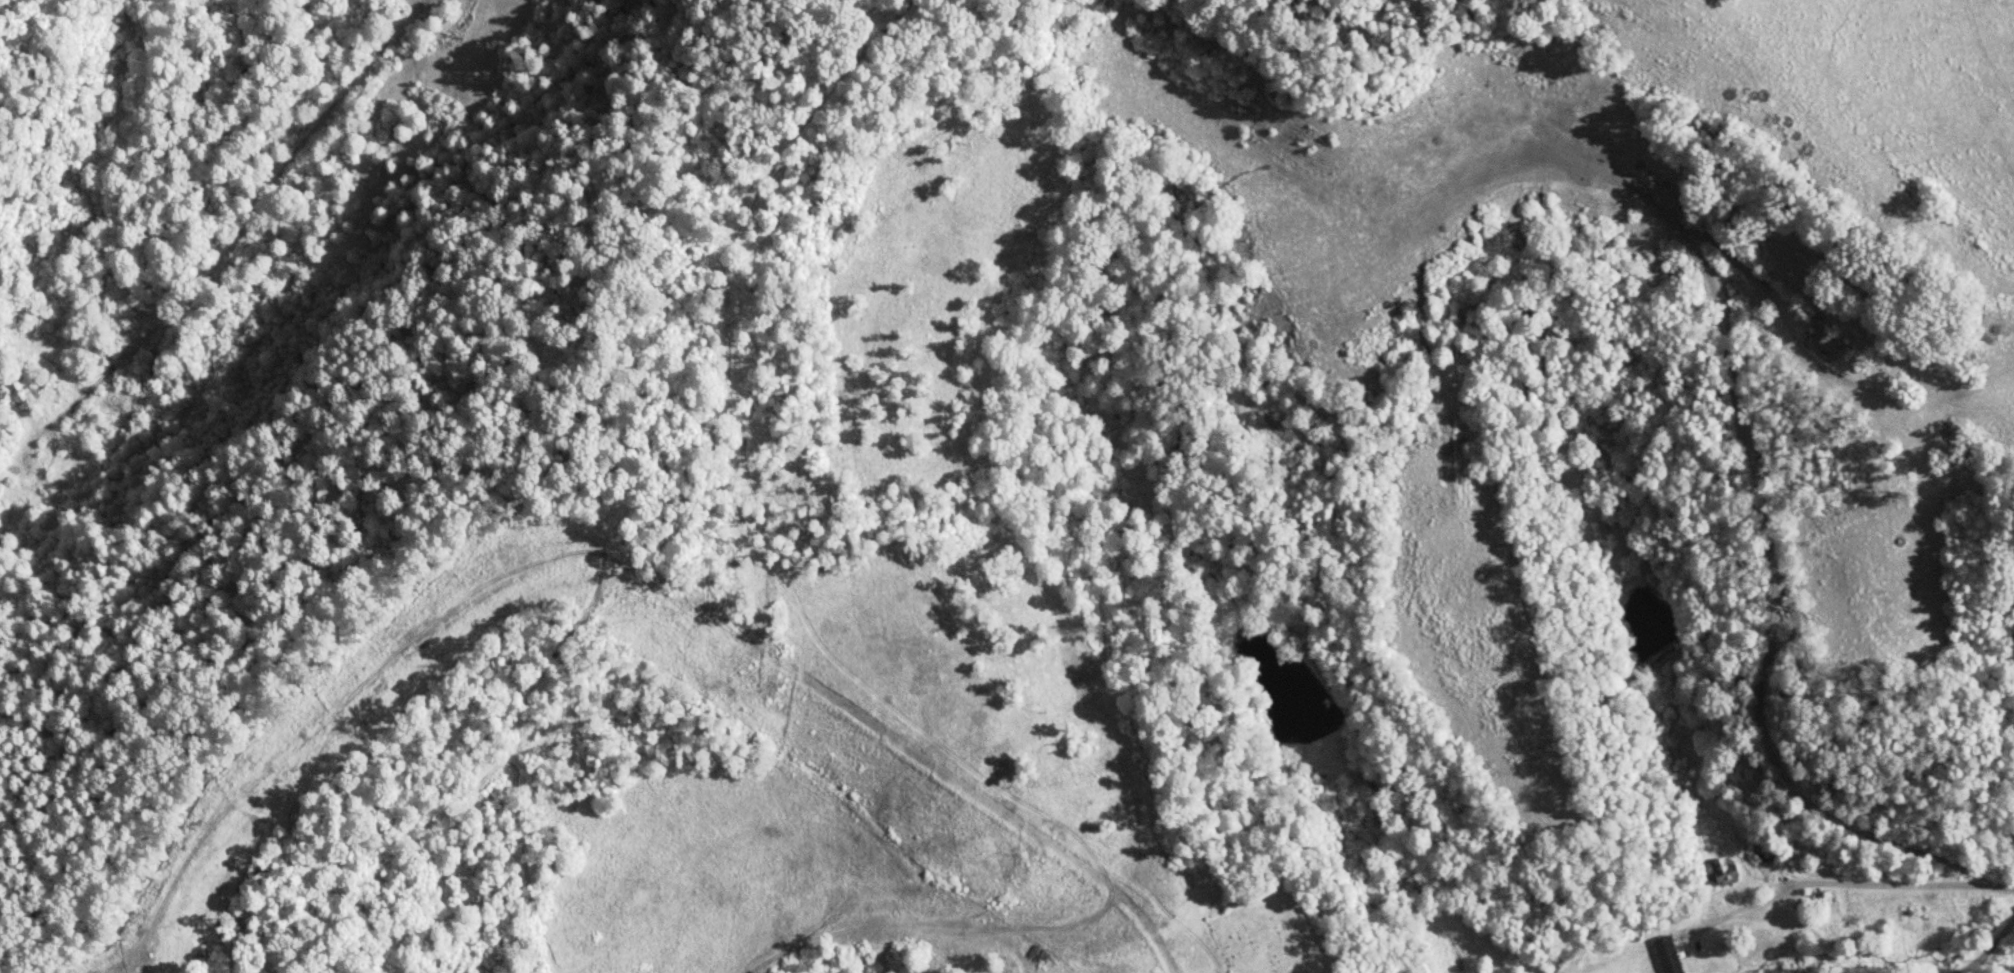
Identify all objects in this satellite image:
building: (1716, 869)
road: (1882, 901)
building: (1664, 953)
road: (2009, 968)
road: (2000, 971)

